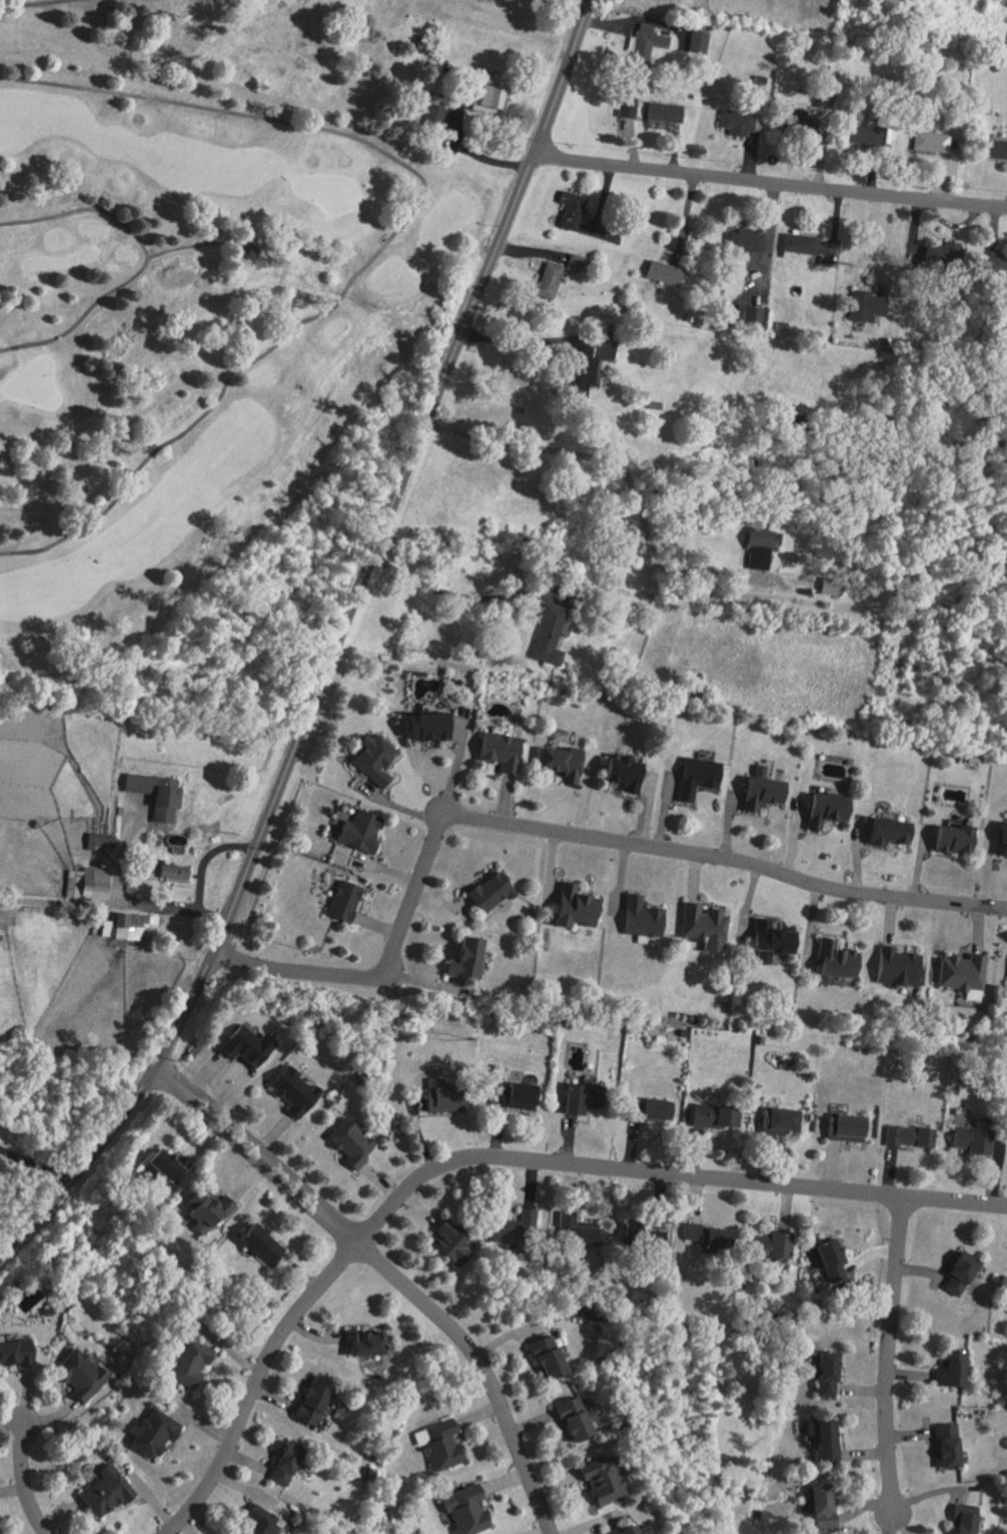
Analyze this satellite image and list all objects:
road: (36, 2)
building: (695, 41)
building: (644, 42)
building: (484, 92)
building: (625, 105)
building: (662, 111)
building: (432, 115)
building: (738, 121)
building: (803, 122)
building: (862, 134)
building: (930, 141)
building: (994, 148)
road: (770, 183)
building: (568, 209)
road: (387, 239)
building: (743, 239)
building: (797, 243)
road: (145, 261)
building: (571, 262)
building: (660, 272)
building: (545, 279)
building: (862, 305)
building: (745, 314)
park: (223, 320)
road: (526, 341)
road: (615, 462)
building: (828, 586)
road: (463, 595)
building: (546, 634)
road: (333, 651)
building: (424, 726)
building: (497, 751)
building: (370, 758)
building: (559, 762)
building: (620, 772)
building: (694, 776)
building: (759, 787)
building: (152, 789)
building: (822, 810)
building: (356, 831)
road: (556, 832)
building: (884, 832)
building: (1000, 838)
building: (950, 839)
building: (97, 842)
road: (204, 858)
building: (166, 872)
building: (87, 882)
building: (487, 892)
road: (128, 901)
building: (340, 901)
road: (62, 902)
building: (571, 907)
building: (2, 918)
building: (638, 919)
building: (125, 926)
building: (702, 927)
building: (104, 928)
building: (767, 940)
building: (463, 959)
building: (833, 960)
building: (898, 967)
building: (960, 971)
building: (245, 1045)
building: (291, 1091)
building: (516, 1095)
building: (440, 1097)
building: (580, 1098)
building: (647, 1110)
building: (711, 1116)
building: (777, 1121)
building: (843, 1128)
building: (906, 1136)
building: (969, 1140)
building: (348, 1143)
road: (35, 1164)
building: (165, 1164)
road: (665, 1174)
building: (204, 1212)
building: (511, 1230)
building: (576, 1233)
building: (700, 1235)
building: (447, 1243)
building: (258, 1244)
building: (770, 1248)
building: (827, 1259)
road: (389, 1274)
building: (957, 1274)
building: (362, 1342)
building: (15, 1354)
building: (545, 1358)
road: (886, 1358)
building: (186, 1363)
building: (949, 1370)
building: (824, 1374)
building: (78, 1375)
road: (254, 1385)
building: (310, 1403)
building: (571, 1420)
building: (150, 1434)
building: (820, 1436)
building: (437, 1444)
building: (945, 1446)
building: (283, 1463)
road: (22, 1478)
building: (599, 1480)
building: (103, 1492)
building: (819, 1507)
building: (464, 1510)
building: (962, 1519)
building: (260, 1523)
road: (887, 1526)
building: (623, 1530)

